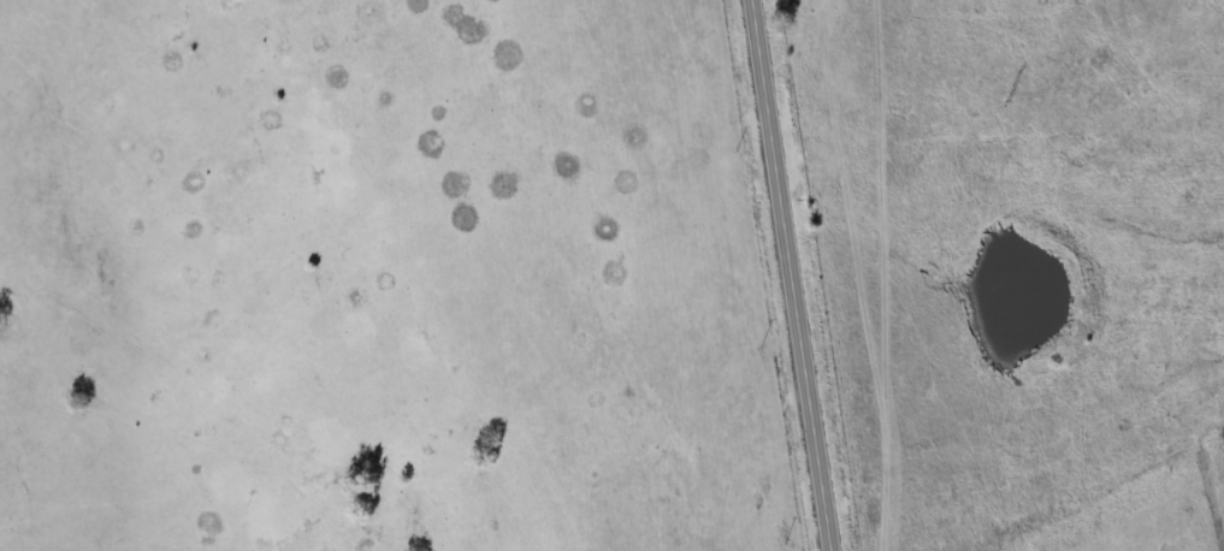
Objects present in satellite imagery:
road: (792, 275)

